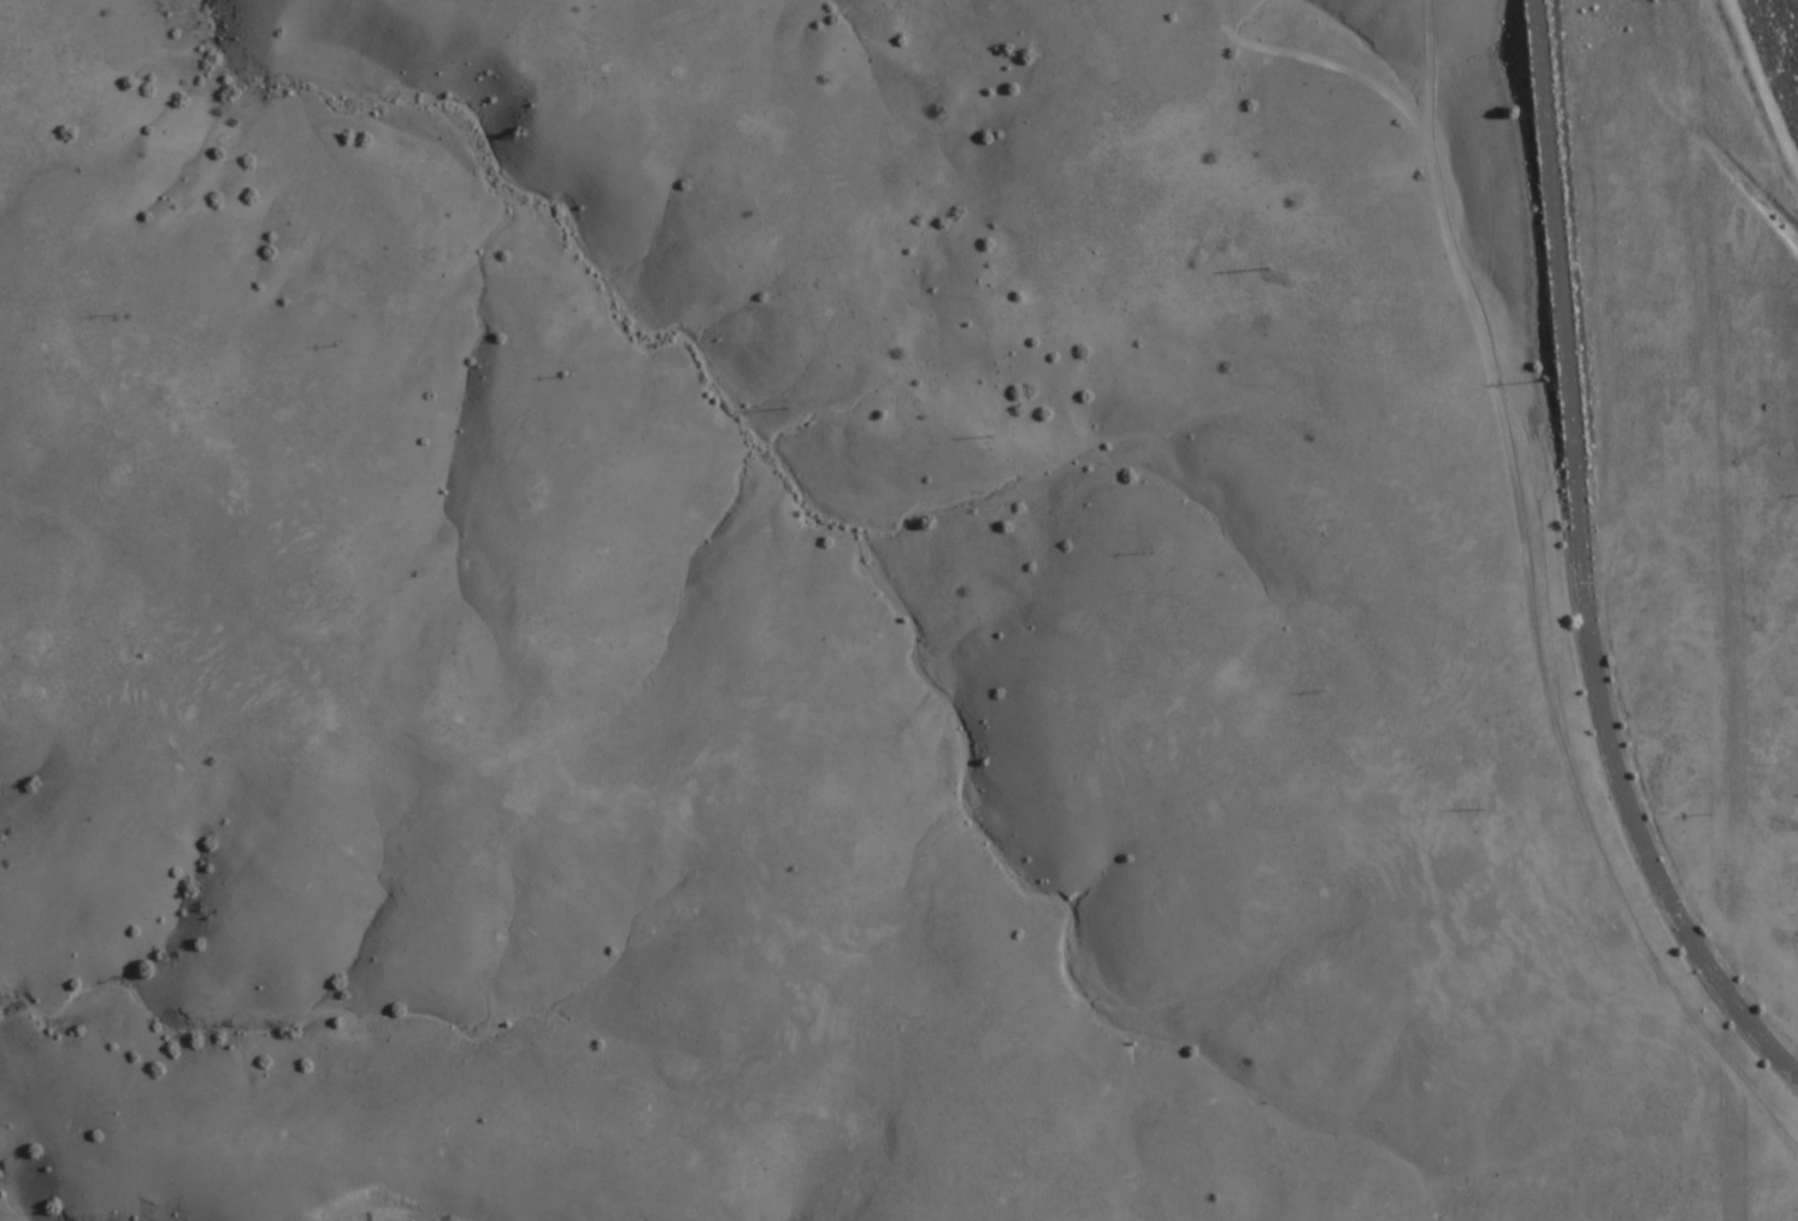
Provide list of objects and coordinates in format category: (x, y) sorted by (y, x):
dam: (1776, 51)
dam: (1558, 231)
road: (1587, 562)

